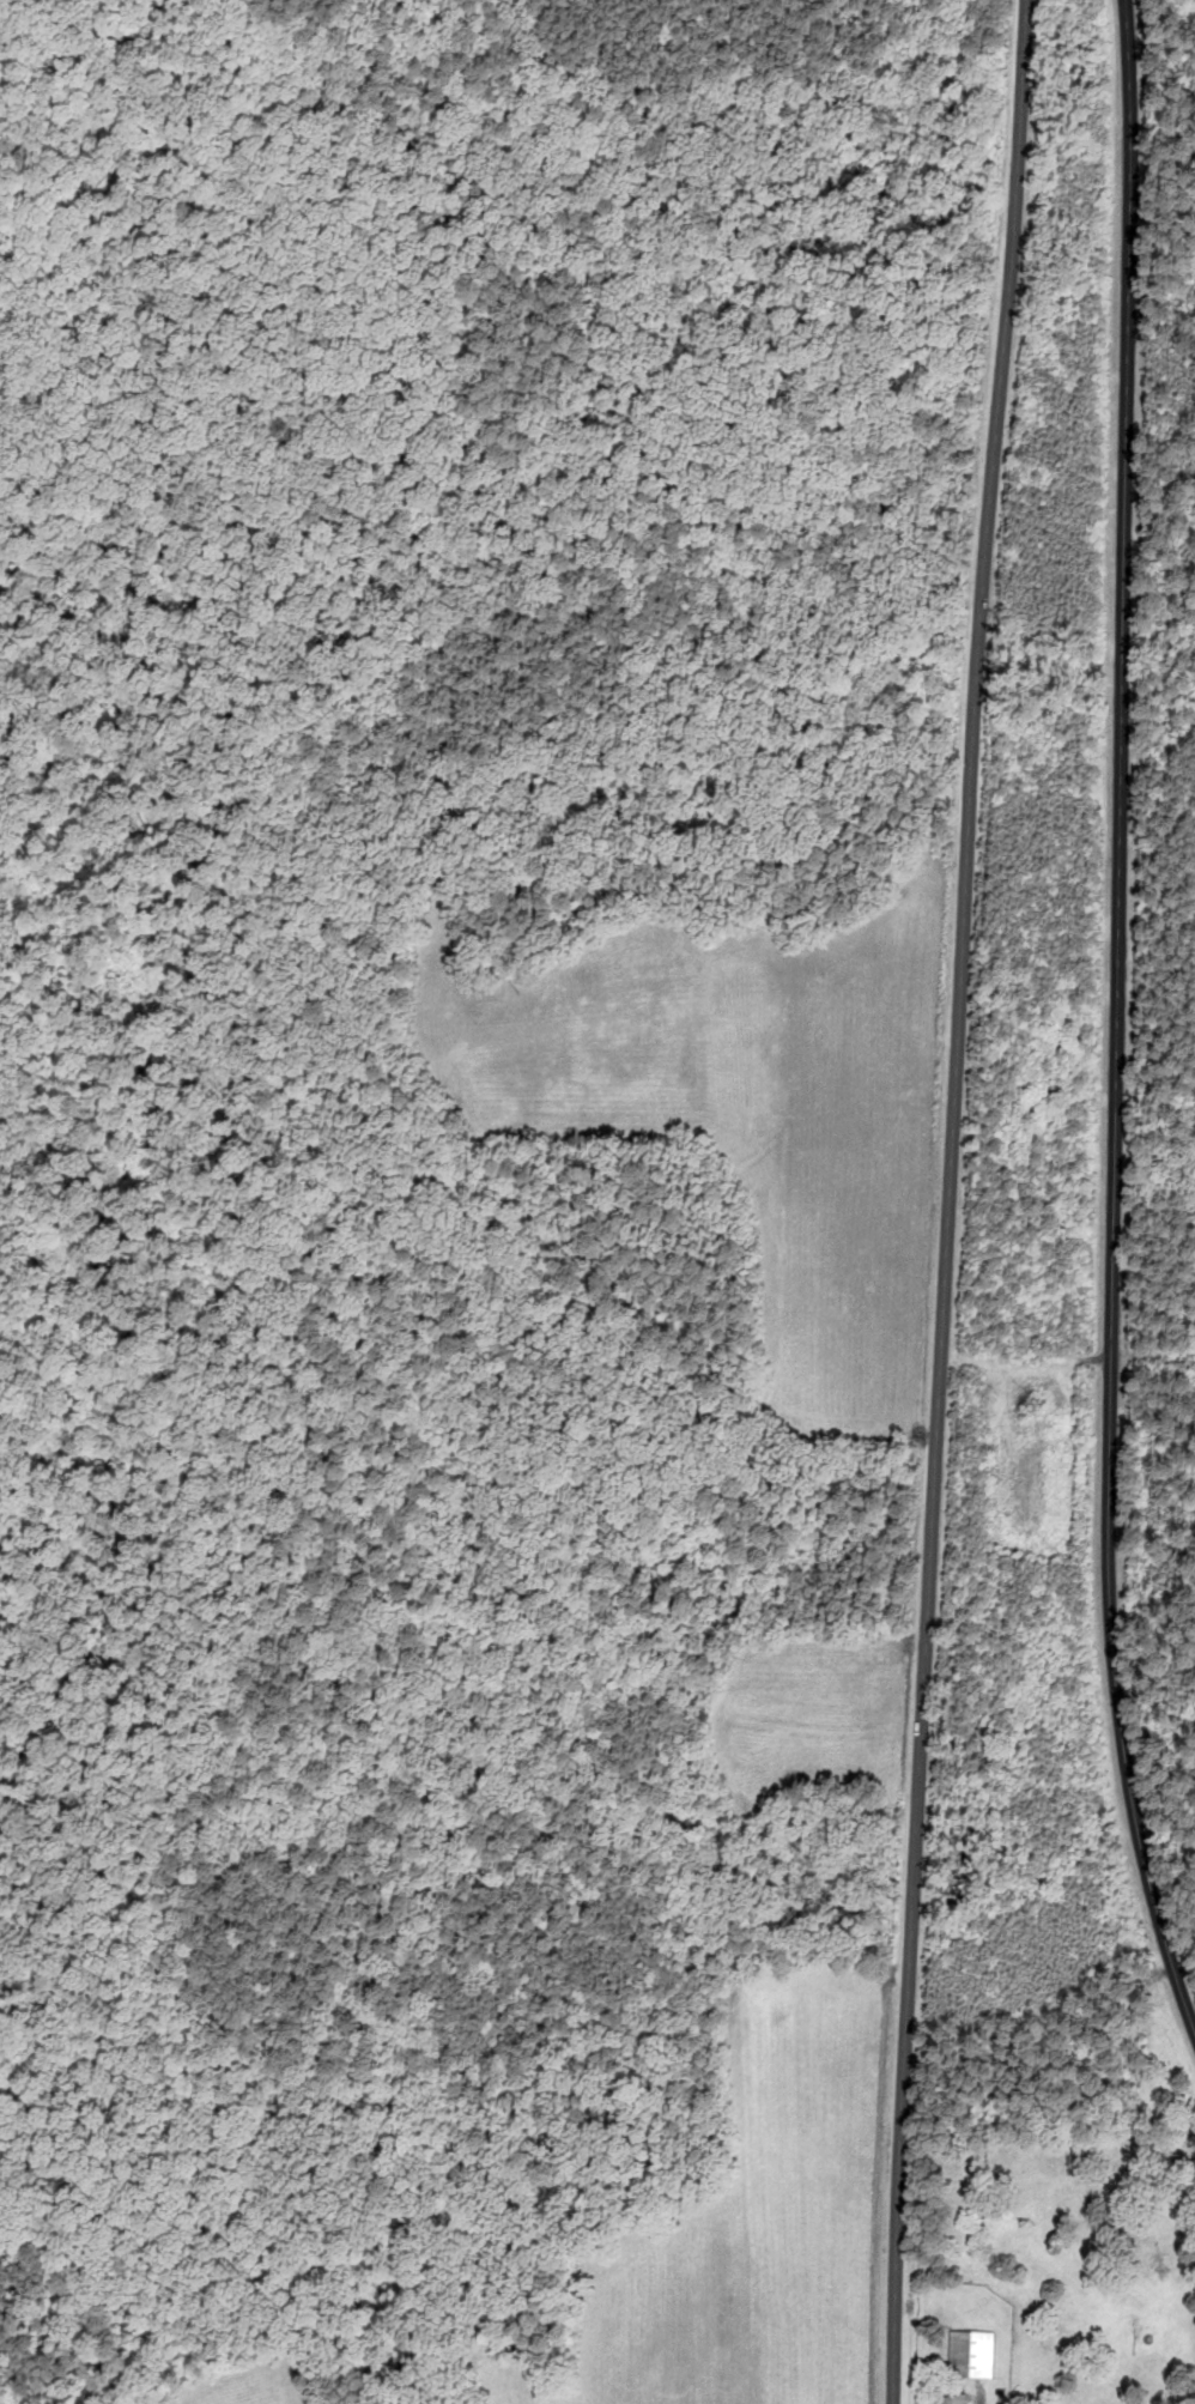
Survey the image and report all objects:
road: (1117, 1019)
road: (950, 1200)
building: (967, 2355)

